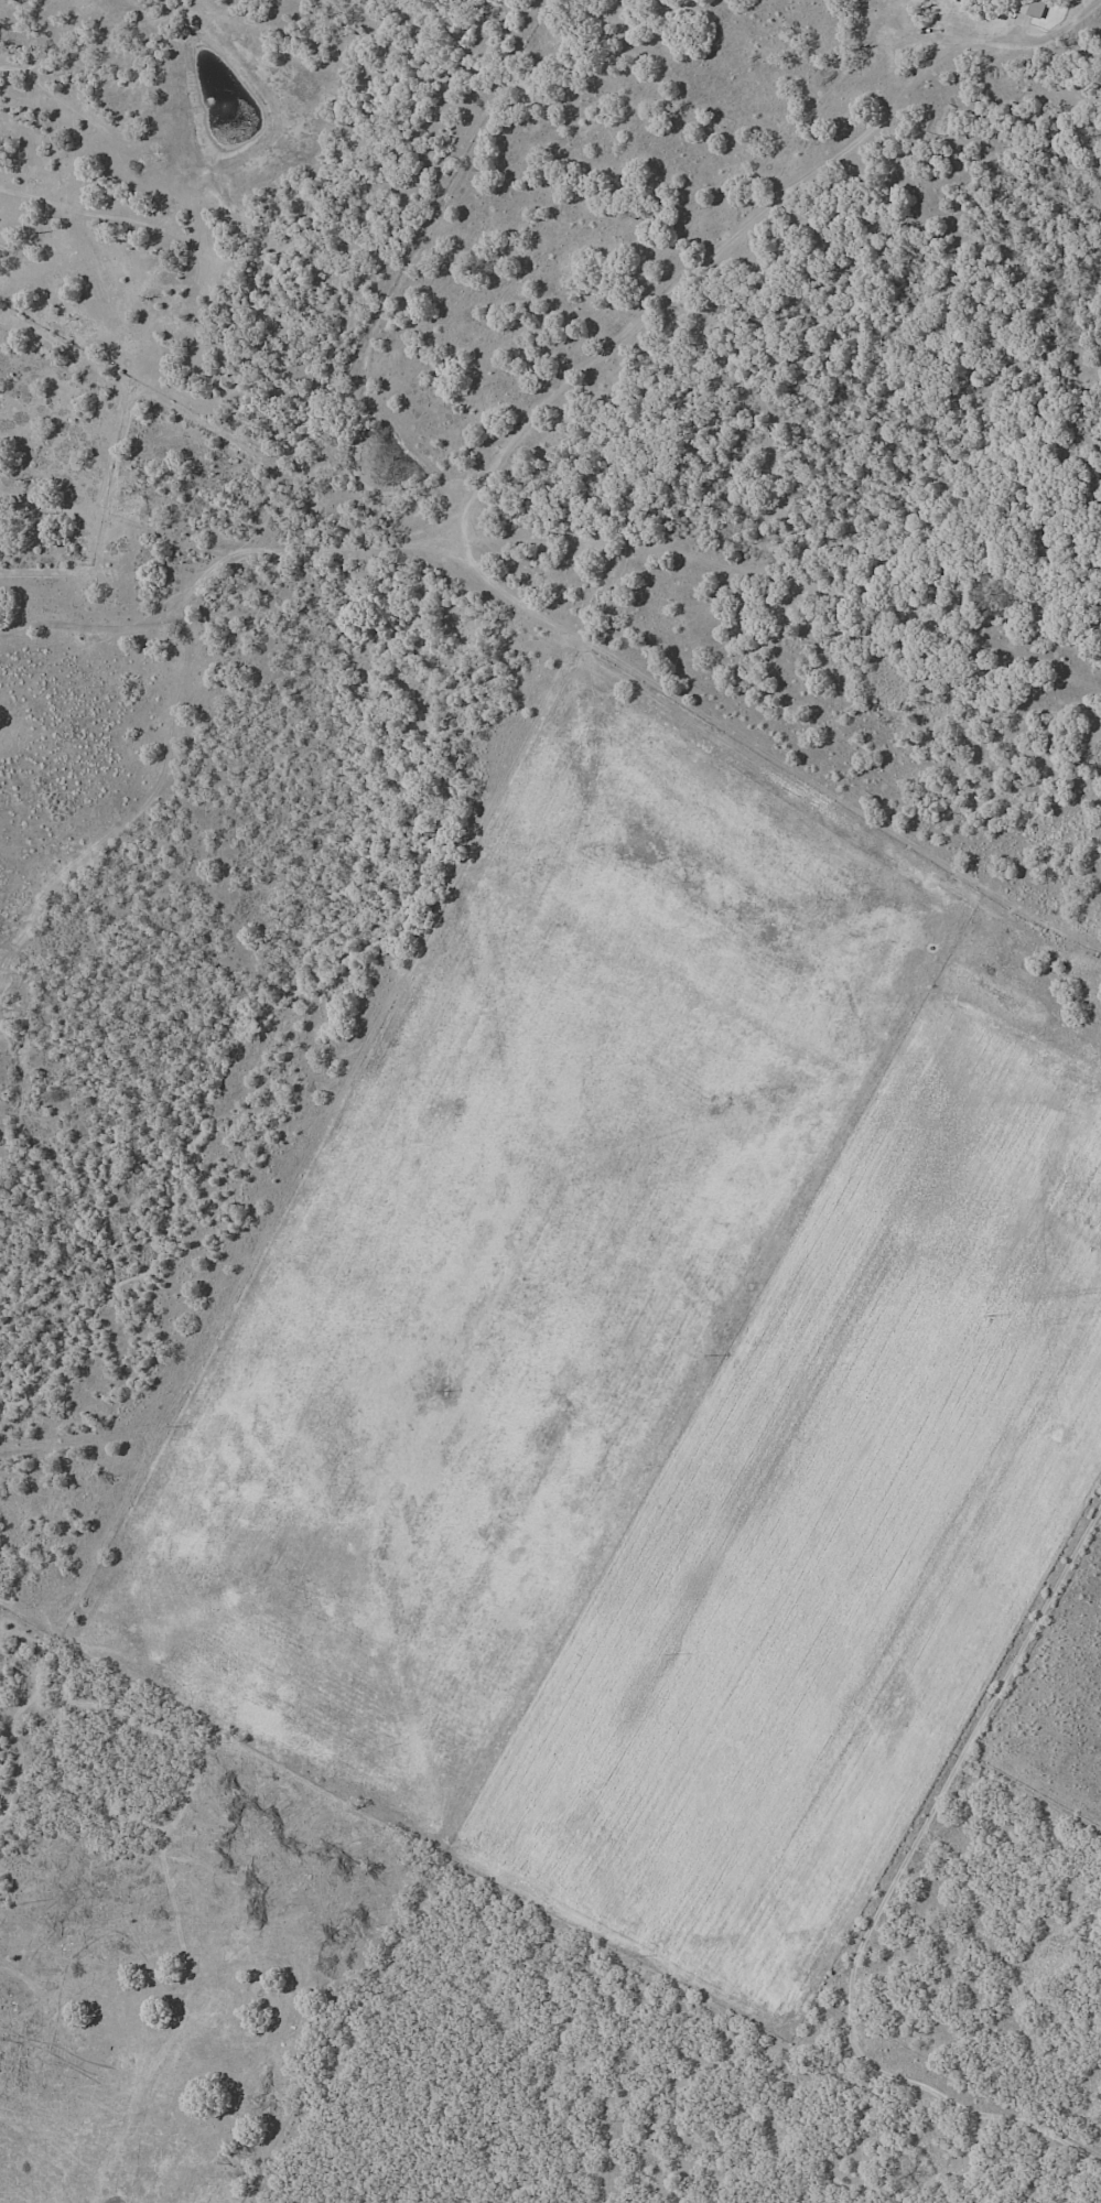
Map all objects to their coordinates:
building: (958, 1)
building: (1038, 7)
road: (1045, 36)

